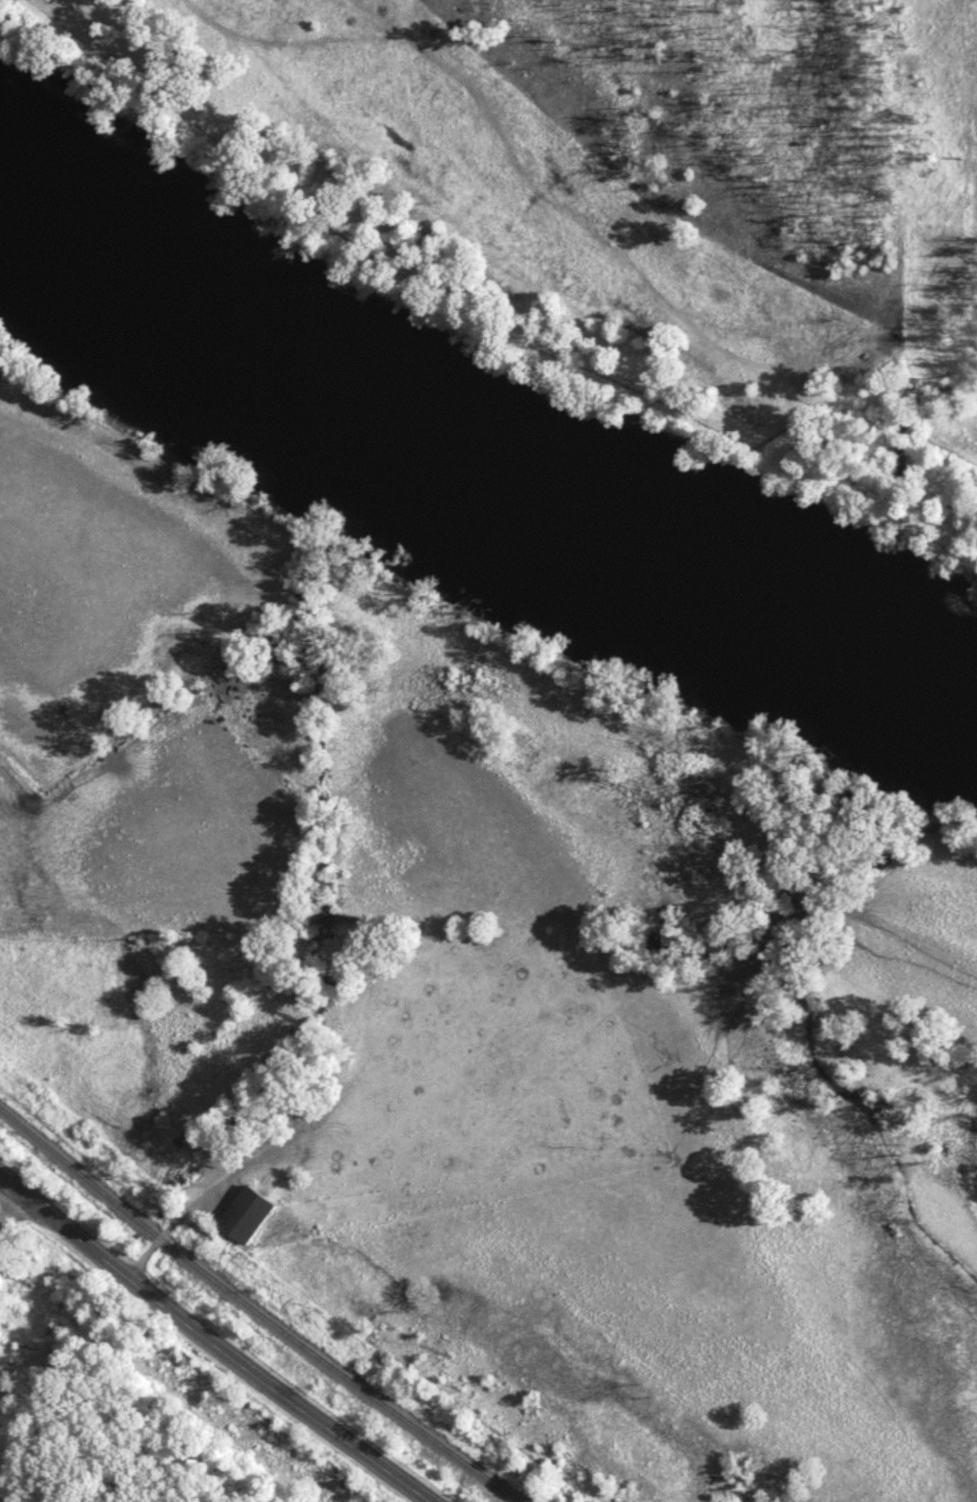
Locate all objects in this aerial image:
river: (476, 469)
road: (12, 1210)
building: (245, 1216)
railway: (256, 1313)
road: (211, 1344)
park: (11, 1361)

